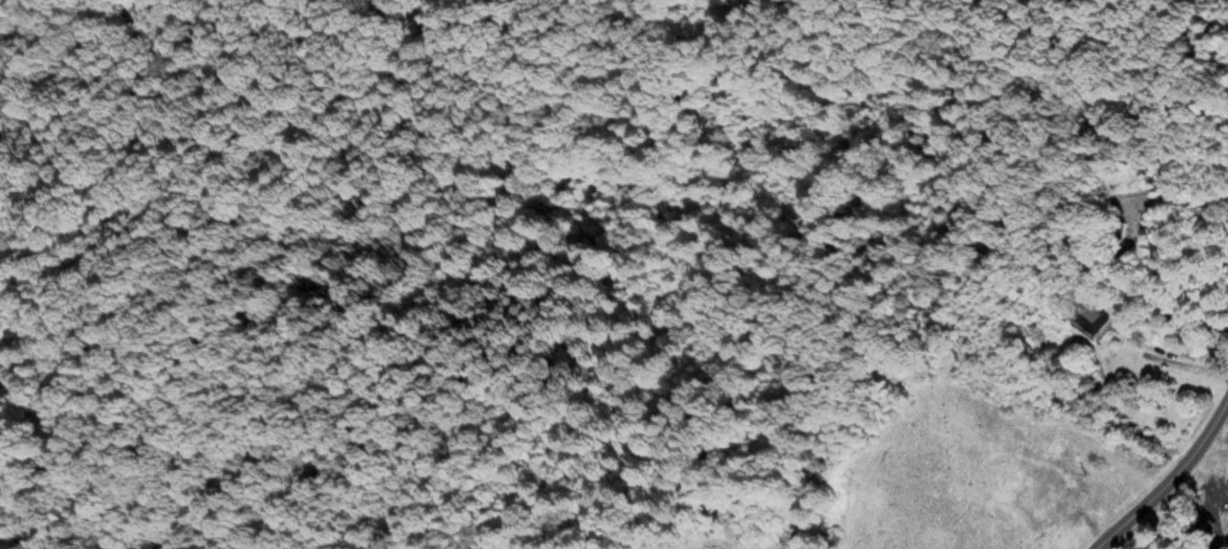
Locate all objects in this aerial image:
building: (1093, 322)
road: (1170, 478)

